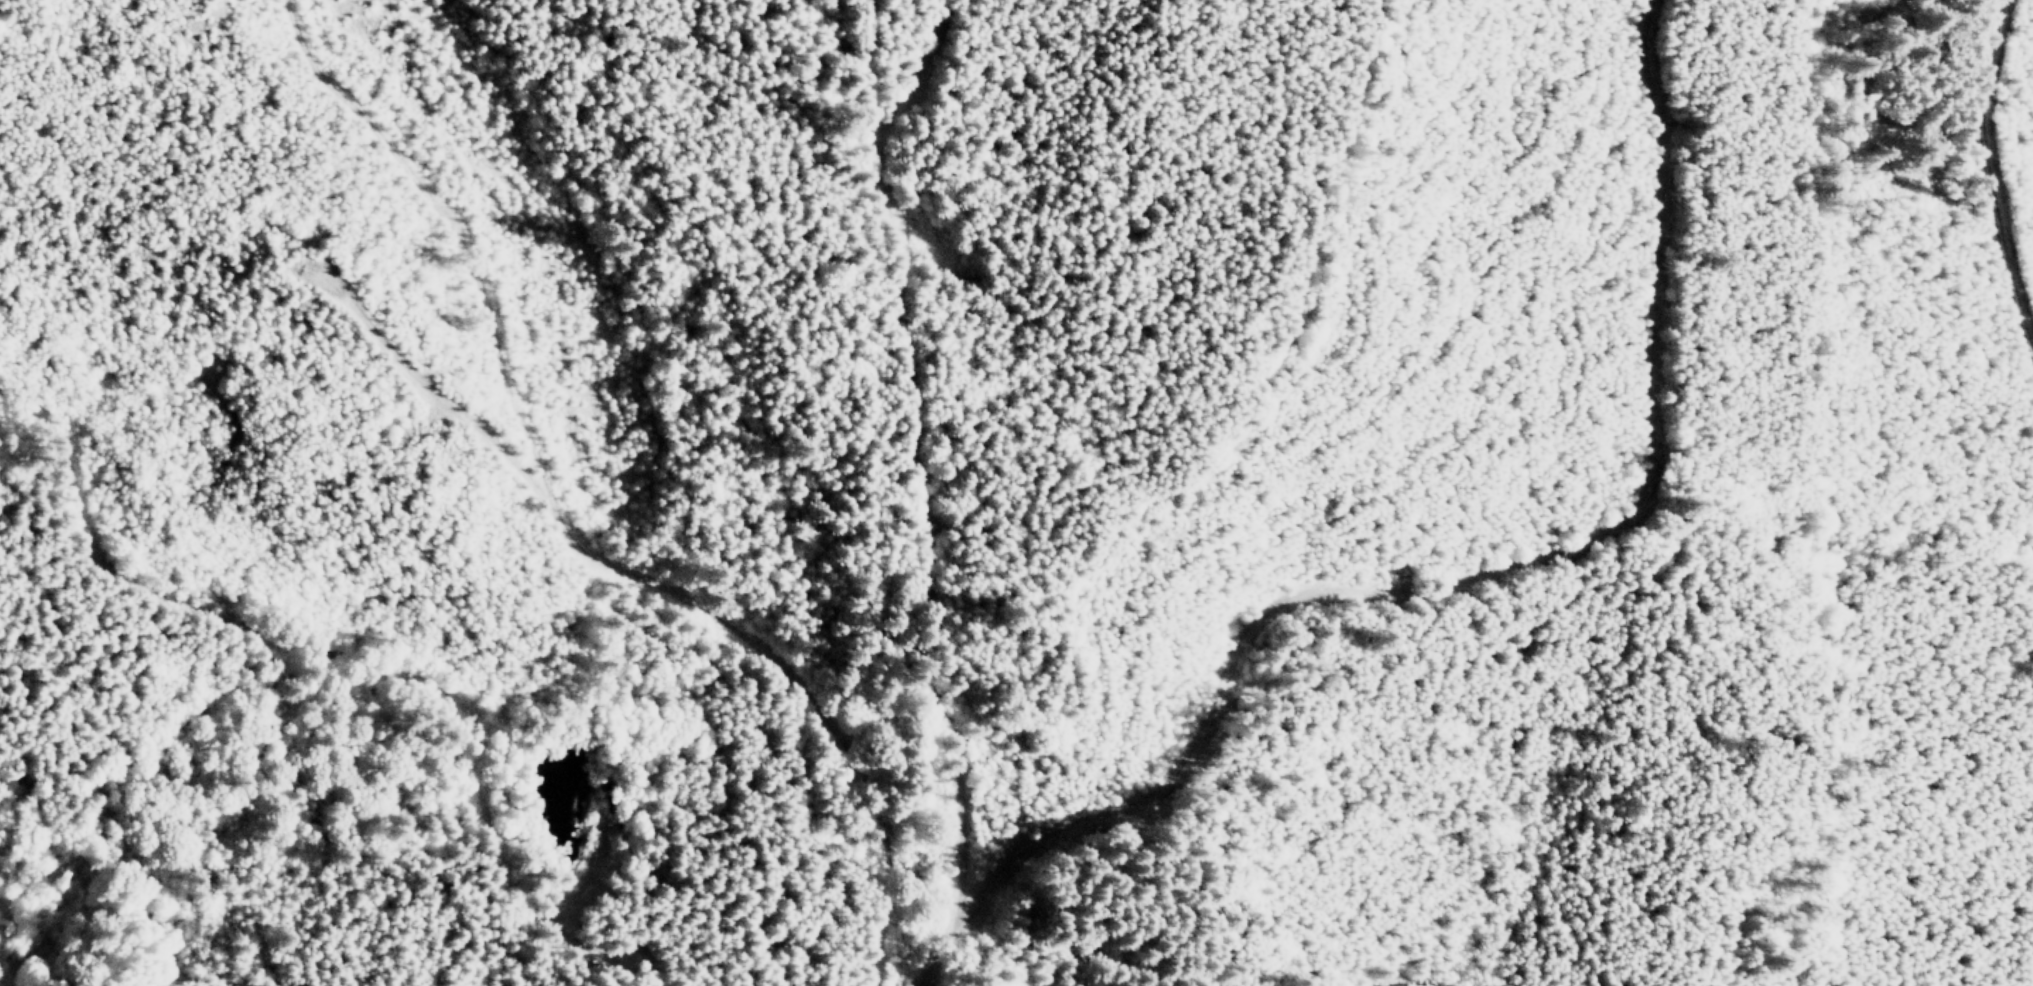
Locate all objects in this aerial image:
road: (565, 531)
road: (350, 661)
road: (1403, 982)

